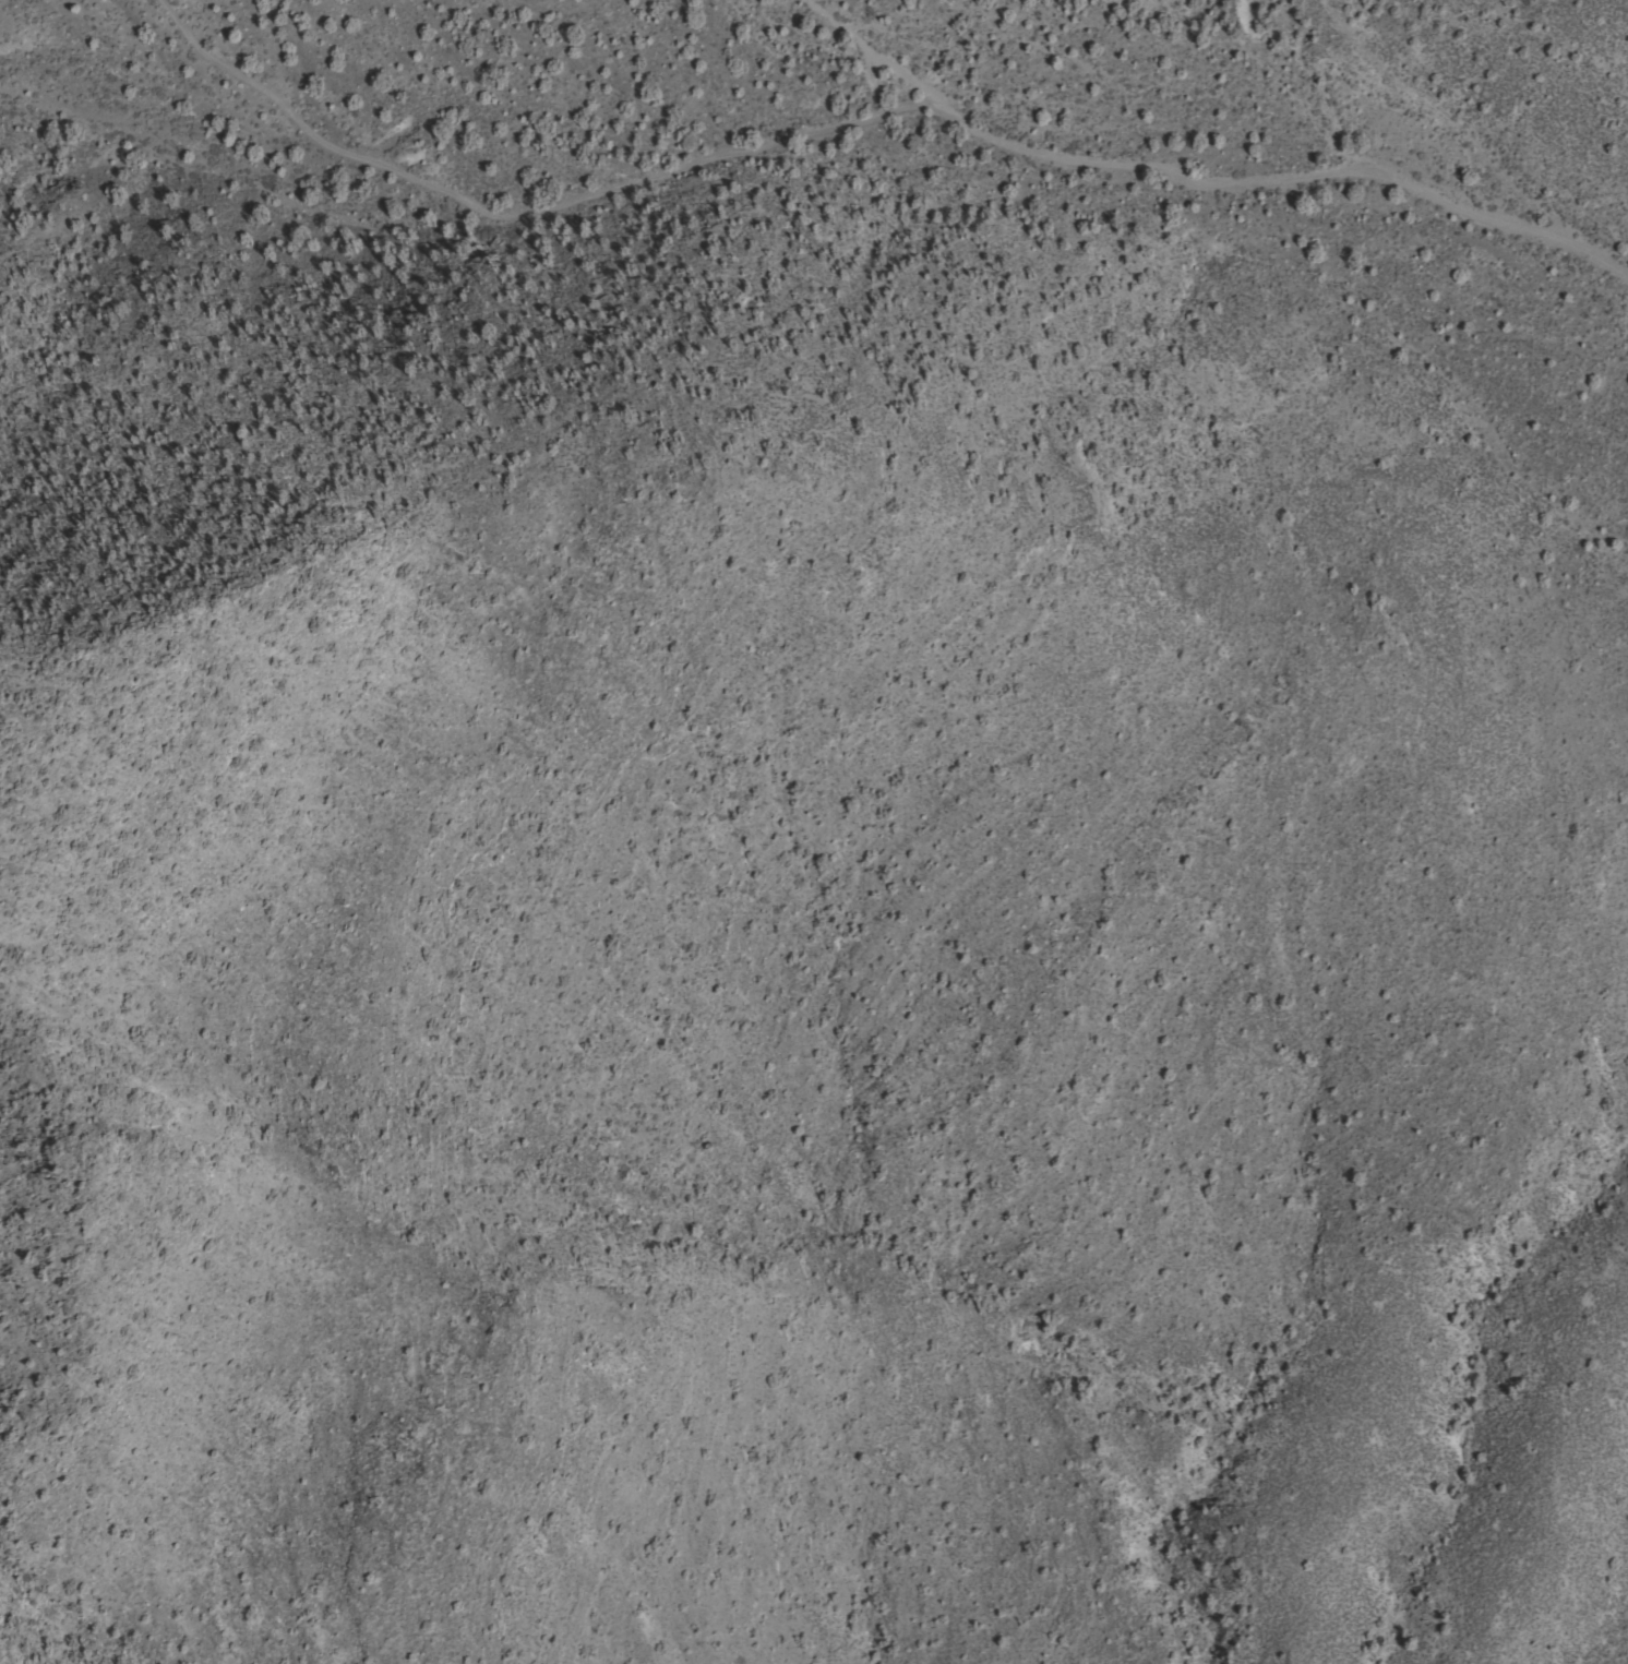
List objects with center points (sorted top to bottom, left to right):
road: (770, 238)

